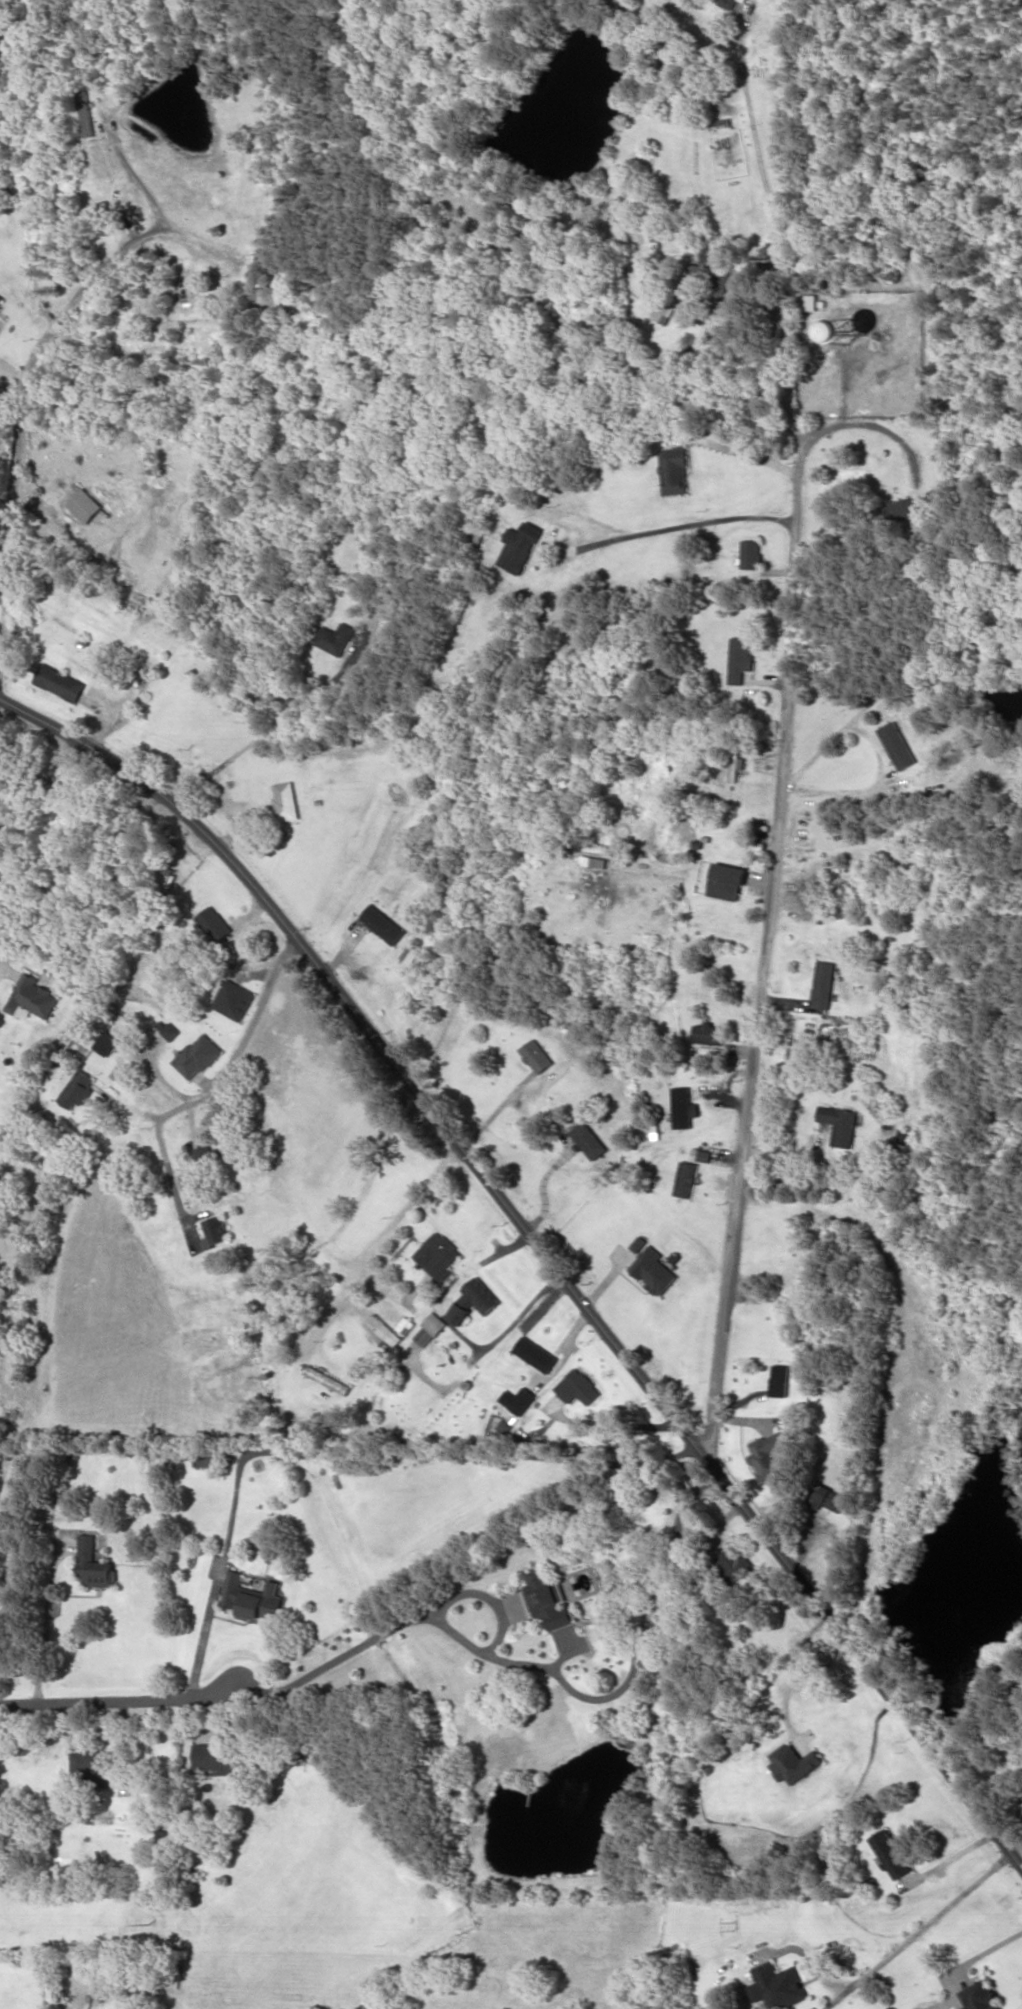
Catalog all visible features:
building: (743, 0)
building: (727, 3)
building: (87, 115)
building: (712, 279)
building: (1, 299)
building: (808, 301)
road: (25, 405)
building: (674, 470)
building: (83, 505)
building: (908, 507)
building: (519, 546)
building: (749, 553)
building: (333, 638)
building: (738, 657)
building: (59, 682)
building: (898, 745)
building: (733, 761)
building: (285, 800)
building: (726, 881)
road: (770, 903)
building: (212, 922)
building: (382, 923)
building: (410, 953)
building: (822, 984)
building: (31, 996)
building: (233, 999)
building: (169, 1030)
building: (707, 1033)
road: (246, 1041)
building: (106, 1042)
building: (197, 1055)
building: (535, 1055)
building: (77, 1089)
building: (683, 1107)
building: (839, 1123)
building: (587, 1140)
building: (700, 1154)
building: (685, 1178)
building: (216, 1231)
road: (543, 1243)
building: (638, 1243)
building: (437, 1255)
building: (653, 1270)
building: (473, 1299)
building: (434, 1323)
building: (405, 1325)
building: (536, 1353)
building: (327, 1379)
building: (778, 1380)
building: (578, 1386)
building: (519, 1399)
building: (767, 1454)
building: (826, 1496)
building: (95, 1563)
building: (732, 1563)
building: (233, 1587)
building: (548, 1598)
building: (263, 1602)
road: (120, 1699)
building: (220, 1756)
building: (794, 1762)
building: (91, 1766)
building: (889, 1853)
power tower: (154, 1921)
power tower: (735, 1922)
building: (777, 1986)
building: (979, 1996)

